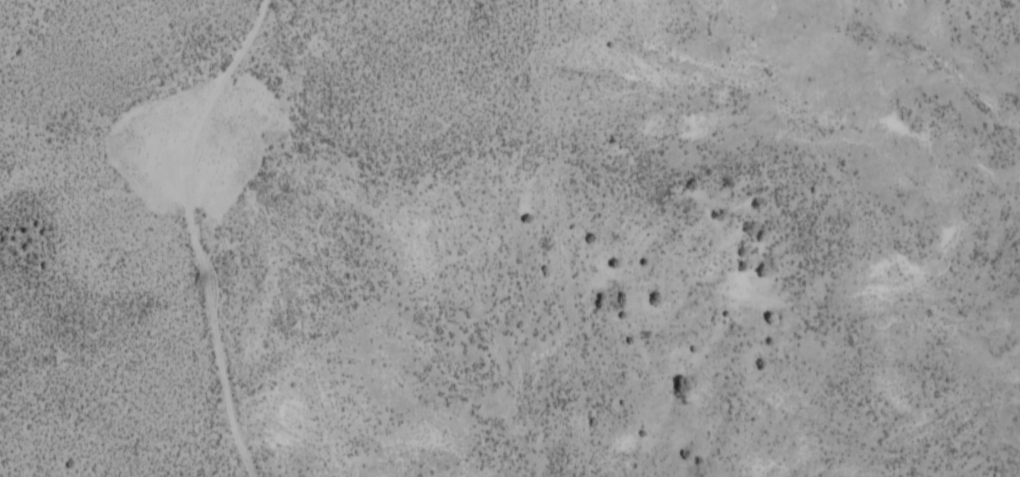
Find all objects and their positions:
road: (189, 230)

